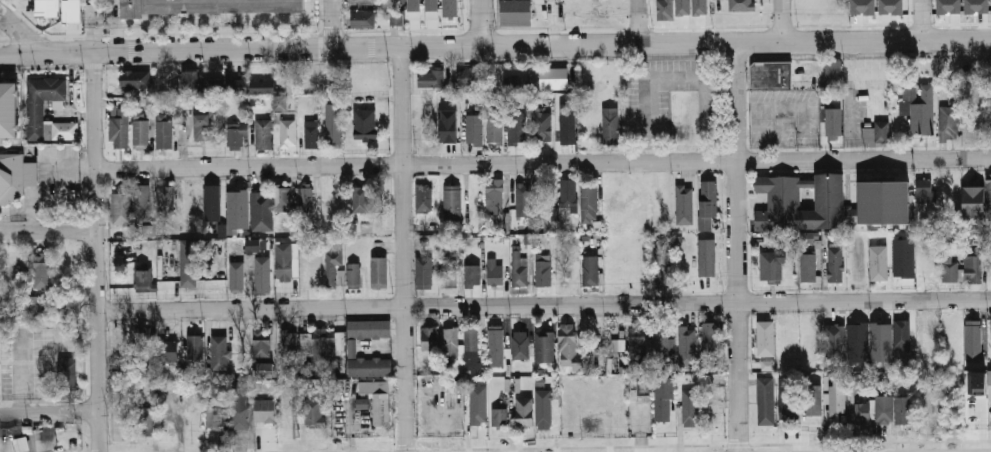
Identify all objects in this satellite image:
building: (365, 4)
building: (742, 5)
building: (208, 6)
building: (977, 6)
building: (683, 7)
building: (700, 7)
building: (862, 7)
building: (892, 7)
building: (949, 7)
building: (47, 8)
building: (450, 8)
parking lot: (102, 9)
building: (414, 9)
building: (71, 10)
building: (432, 10)
building: (666, 10)
building: (516, 13)
road: (926, 18)
building: (362, 19)
road: (783, 19)
road: (639, 20)
road: (481, 21)
road: (329, 22)
road: (90, 23)
road: (21, 33)
road: (516, 43)
road: (21, 52)
building: (832, 72)
building: (770, 74)
building: (431, 78)
building: (469, 78)
building: (554, 78)
building: (135, 80)
building: (190, 84)
building: (517, 85)
building: (212, 87)
building: (238, 87)
building: (263, 87)
building: (253, 103)
building: (280, 103)
building: (42, 104)
building: (184, 105)
building: (917, 107)
building: (8, 111)
building: (833, 123)
building: (948, 123)
building: (365, 124)
building: (448, 125)
building: (567, 125)
building: (202, 126)
building: (609, 126)
building: (542, 127)
building: (119, 129)
building: (474, 129)
building: (494, 129)
building: (49, 130)
building: (140, 130)
building: (333, 130)
building: (66, 131)
building: (163, 131)
building: (875, 132)
building: (263, 133)
building: (287, 133)
building: (516, 133)
building: (310, 134)
building: (237, 135)
road: (543, 164)
building: (15, 178)
building: (923, 190)
building: (971, 192)
building: (988, 192)
building: (568, 194)
building: (281, 197)
building: (304, 197)
building: (423, 197)
building: (165, 198)
building: (360, 199)
building: (524, 200)
building: (452, 201)
building: (827, 202)
building: (142, 203)
building: (495, 204)
building: (588, 204)
building: (214, 205)
building: (707, 205)
building: (685, 206)
building: (121, 208)
building: (237, 210)
building: (261, 211)
building: (148, 229)
road: (47, 235)
building: (807, 237)
building: (256, 245)
road: (739, 246)
road: (404, 248)
road: (96, 251)
building: (902, 257)
building: (191, 259)
building: (707, 259)
building: (286, 261)
building: (834, 262)
building: (877, 262)
building: (770, 264)
building: (807, 267)
building: (590, 268)
building: (334, 269)
building: (448, 269)
building: (518, 269)
building: (961, 269)
building: (41, 272)
building: (379, 272)
building: (424, 272)
building: (493, 272)
building: (543, 272)
building: (262, 273)
building: (353, 274)
building: (472, 275)
building: (142, 280)
building: (235, 281)
building: (32, 305)
road: (544, 305)
building: (67, 309)
building: (368, 328)
building: (990, 333)
building: (901, 334)
building: (683, 336)
building: (709, 336)
building: (144, 338)
building: (430, 338)
building: (471, 339)
building: (766, 339)
building: (833, 340)
building: (450, 341)
building: (661, 341)
building: (857, 342)
building: (881, 343)
building: (261, 344)
building: (327, 344)
building: (617, 344)
building: (972, 344)
building: (195, 346)
building: (544, 346)
building: (568, 346)
building: (495, 347)
building: (520, 347)
building: (169, 348)
building: (636, 348)
building: (220, 352)
building: (289, 353)
building: (769, 365)
building: (369, 366)
building: (304, 369)
building: (263, 370)
building: (67, 372)
building: (121, 372)
building: (977, 382)
building: (640, 385)
building: (989, 385)
building: (834, 396)
building: (662, 397)
building: (787, 398)
building: (812, 399)
building: (765, 400)
building: (377, 401)
building: (239, 405)
building: (477, 405)
building: (689, 407)
building: (543, 408)
building: (264, 410)
building: (873, 410)
building: (902, 410)
road: (50, 411)
building: (524, 412)
building: (314, 413)
building: (214, 414)
building: (499, 417)
building: (144, 422)
building: (21, 444)

